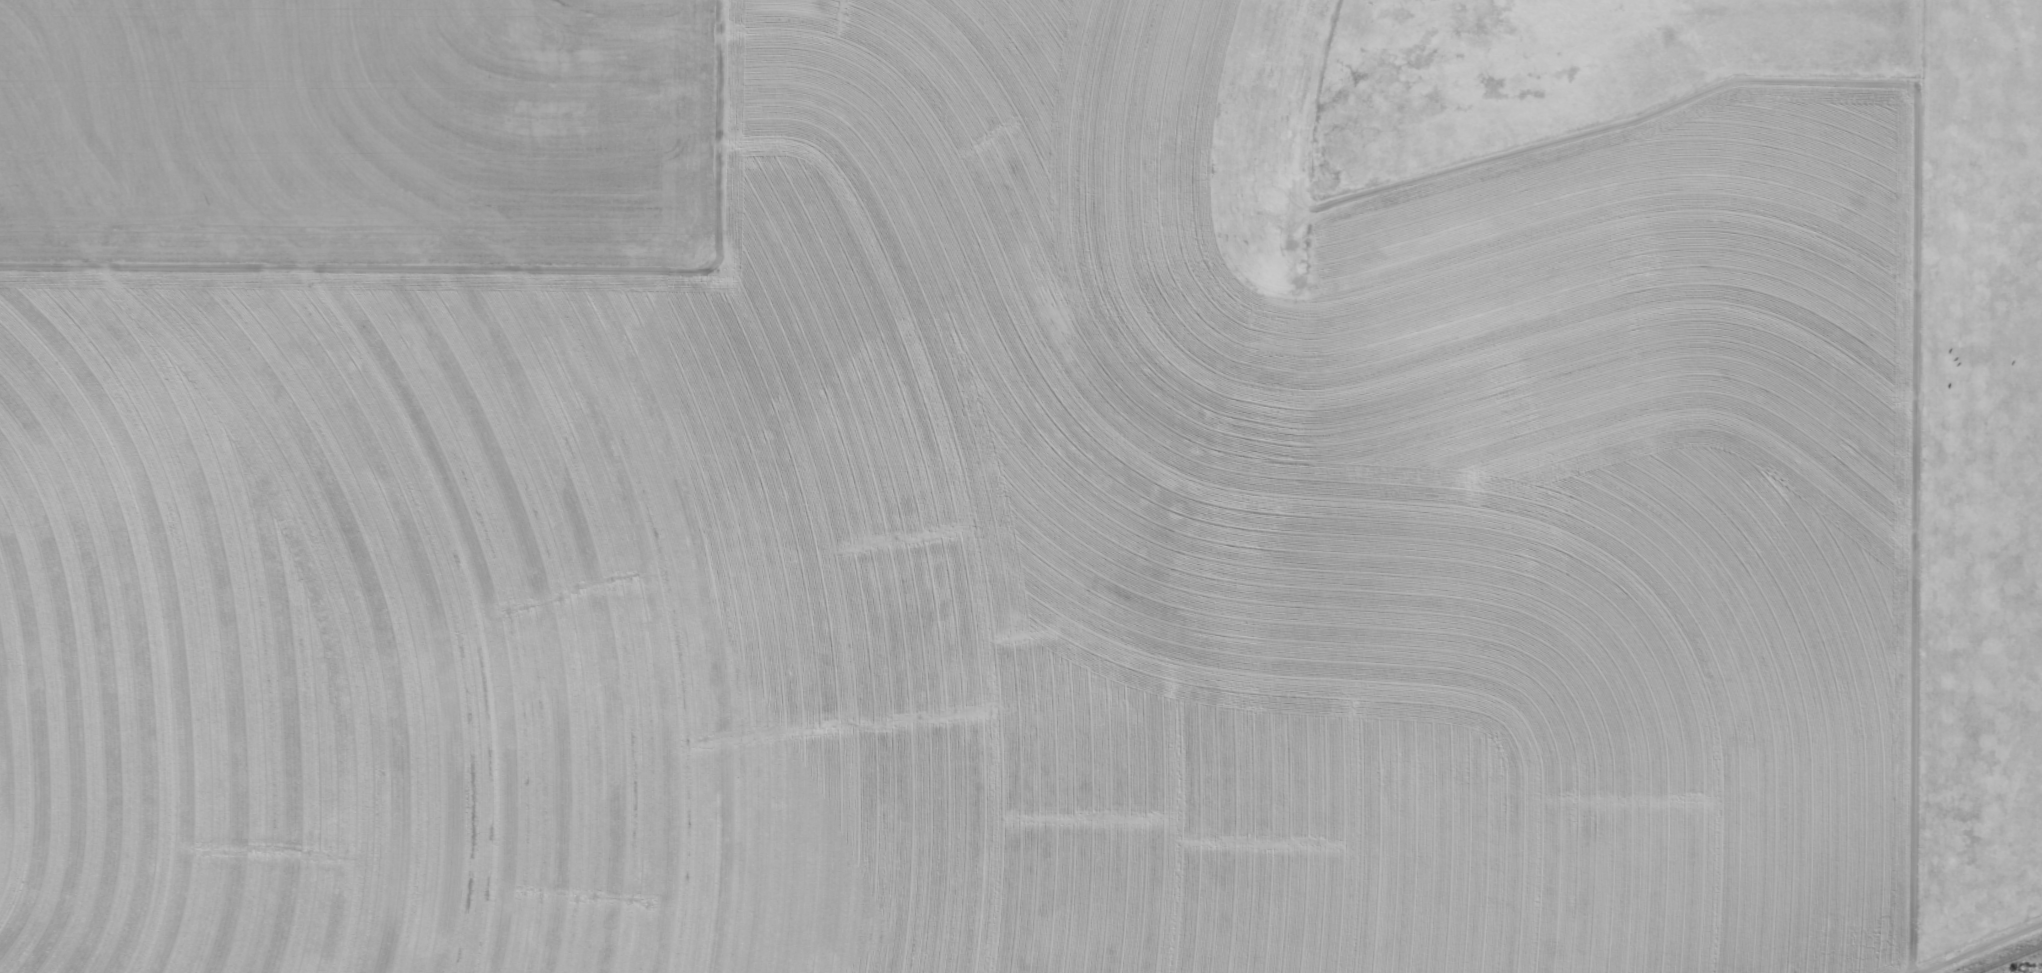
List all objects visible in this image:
railway: (2008, 959)

